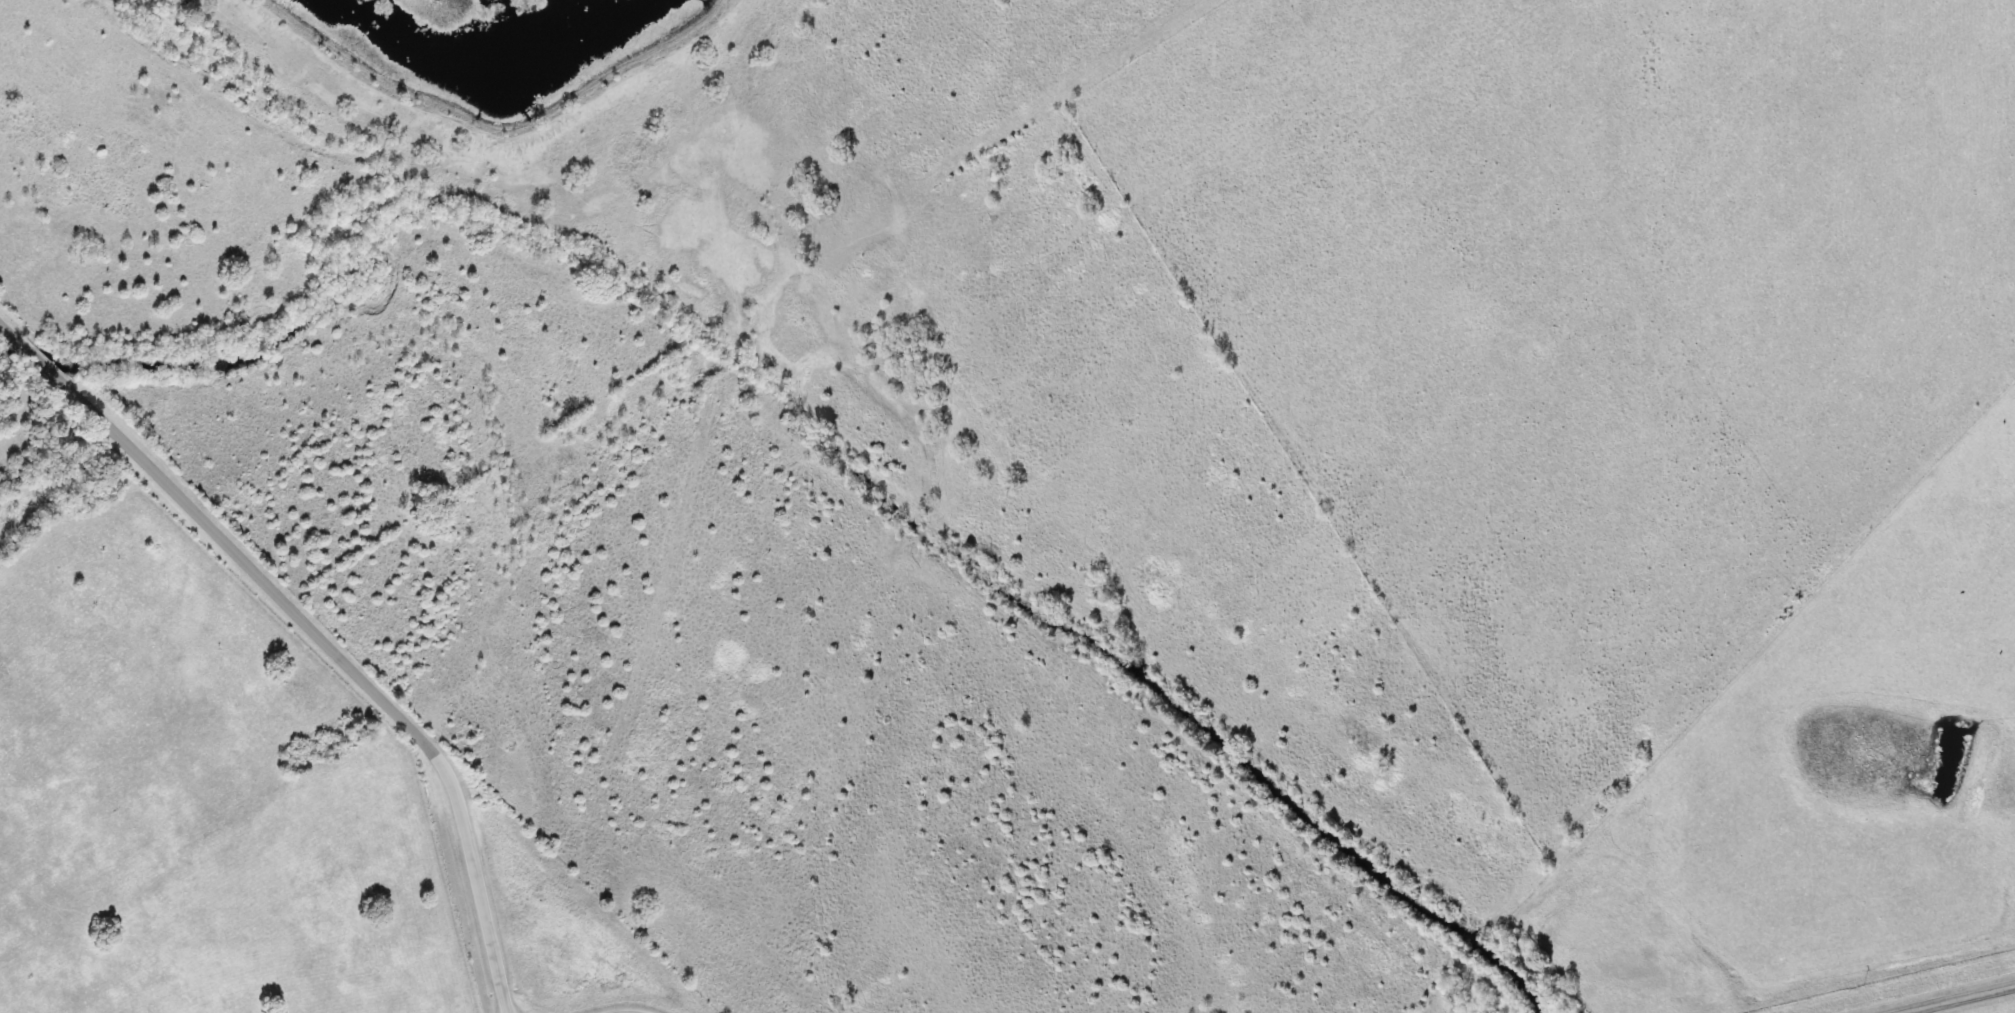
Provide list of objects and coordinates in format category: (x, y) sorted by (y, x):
road: (313, 633)
road: (1955, 999)

